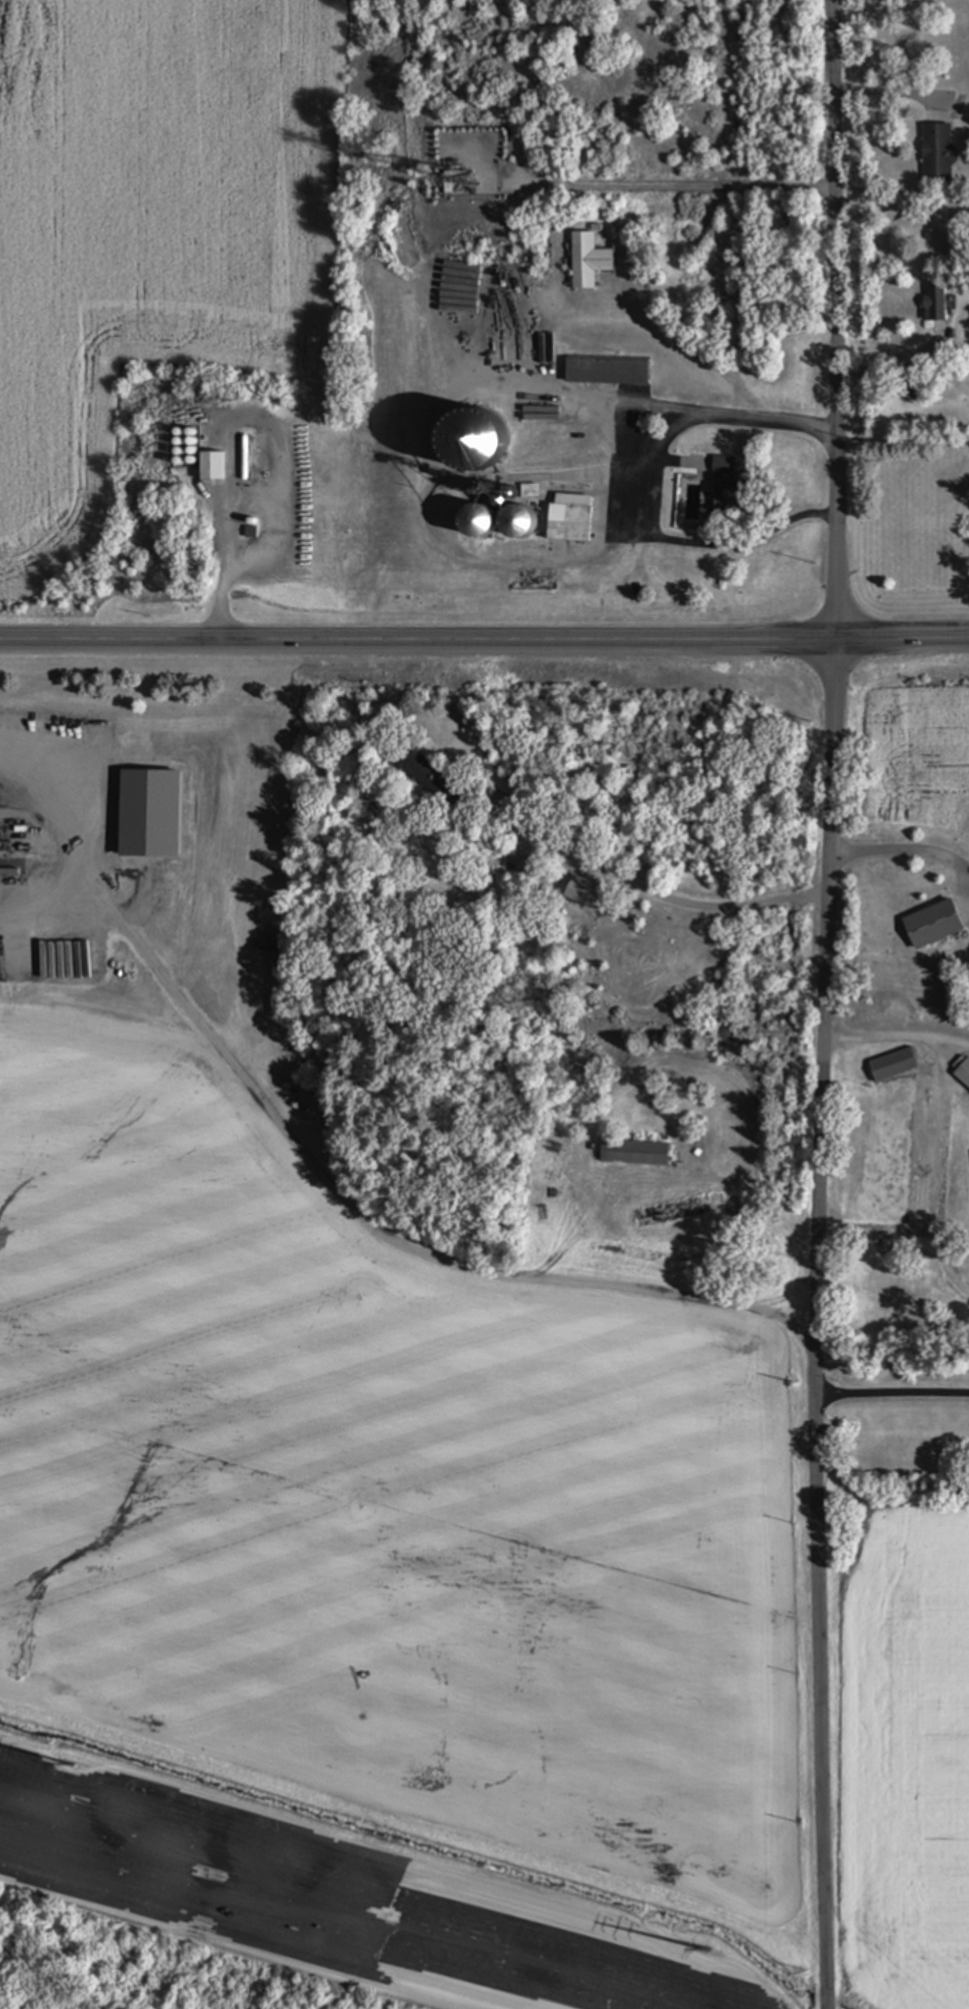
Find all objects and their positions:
building: (938, 153)
road: (698, 181)
building: (449, 183)
building: (588, 261)
building: (936, 304)
road: (835, 321)
road: (888, 358)
building: (591, 370)
road: (225, 423)
building: (574, 454)
building: (478, 456)
building: (246, 457)
building: (514, 457)
building: (544, 457)
building: (213, 467)
building: (729, 488)
building: (530, 491)
road: (641, 491)
building: (570, 518)
building: (479, 522)
building: (519, 523)
road: (484, 640)
building: (432, 777)
road: (902, 847)
road: (46, 887)
road: (647, 891)
building: (935, 926)
road: (896, 1037)
building: (893, 1066)
building: (964, 1075)
building: (635, 1153)
road: (313, 1166)
road: (815, 1325)
road: (891, 1394)
power tower: (78, 1768)
power tower: (705, 1949)

